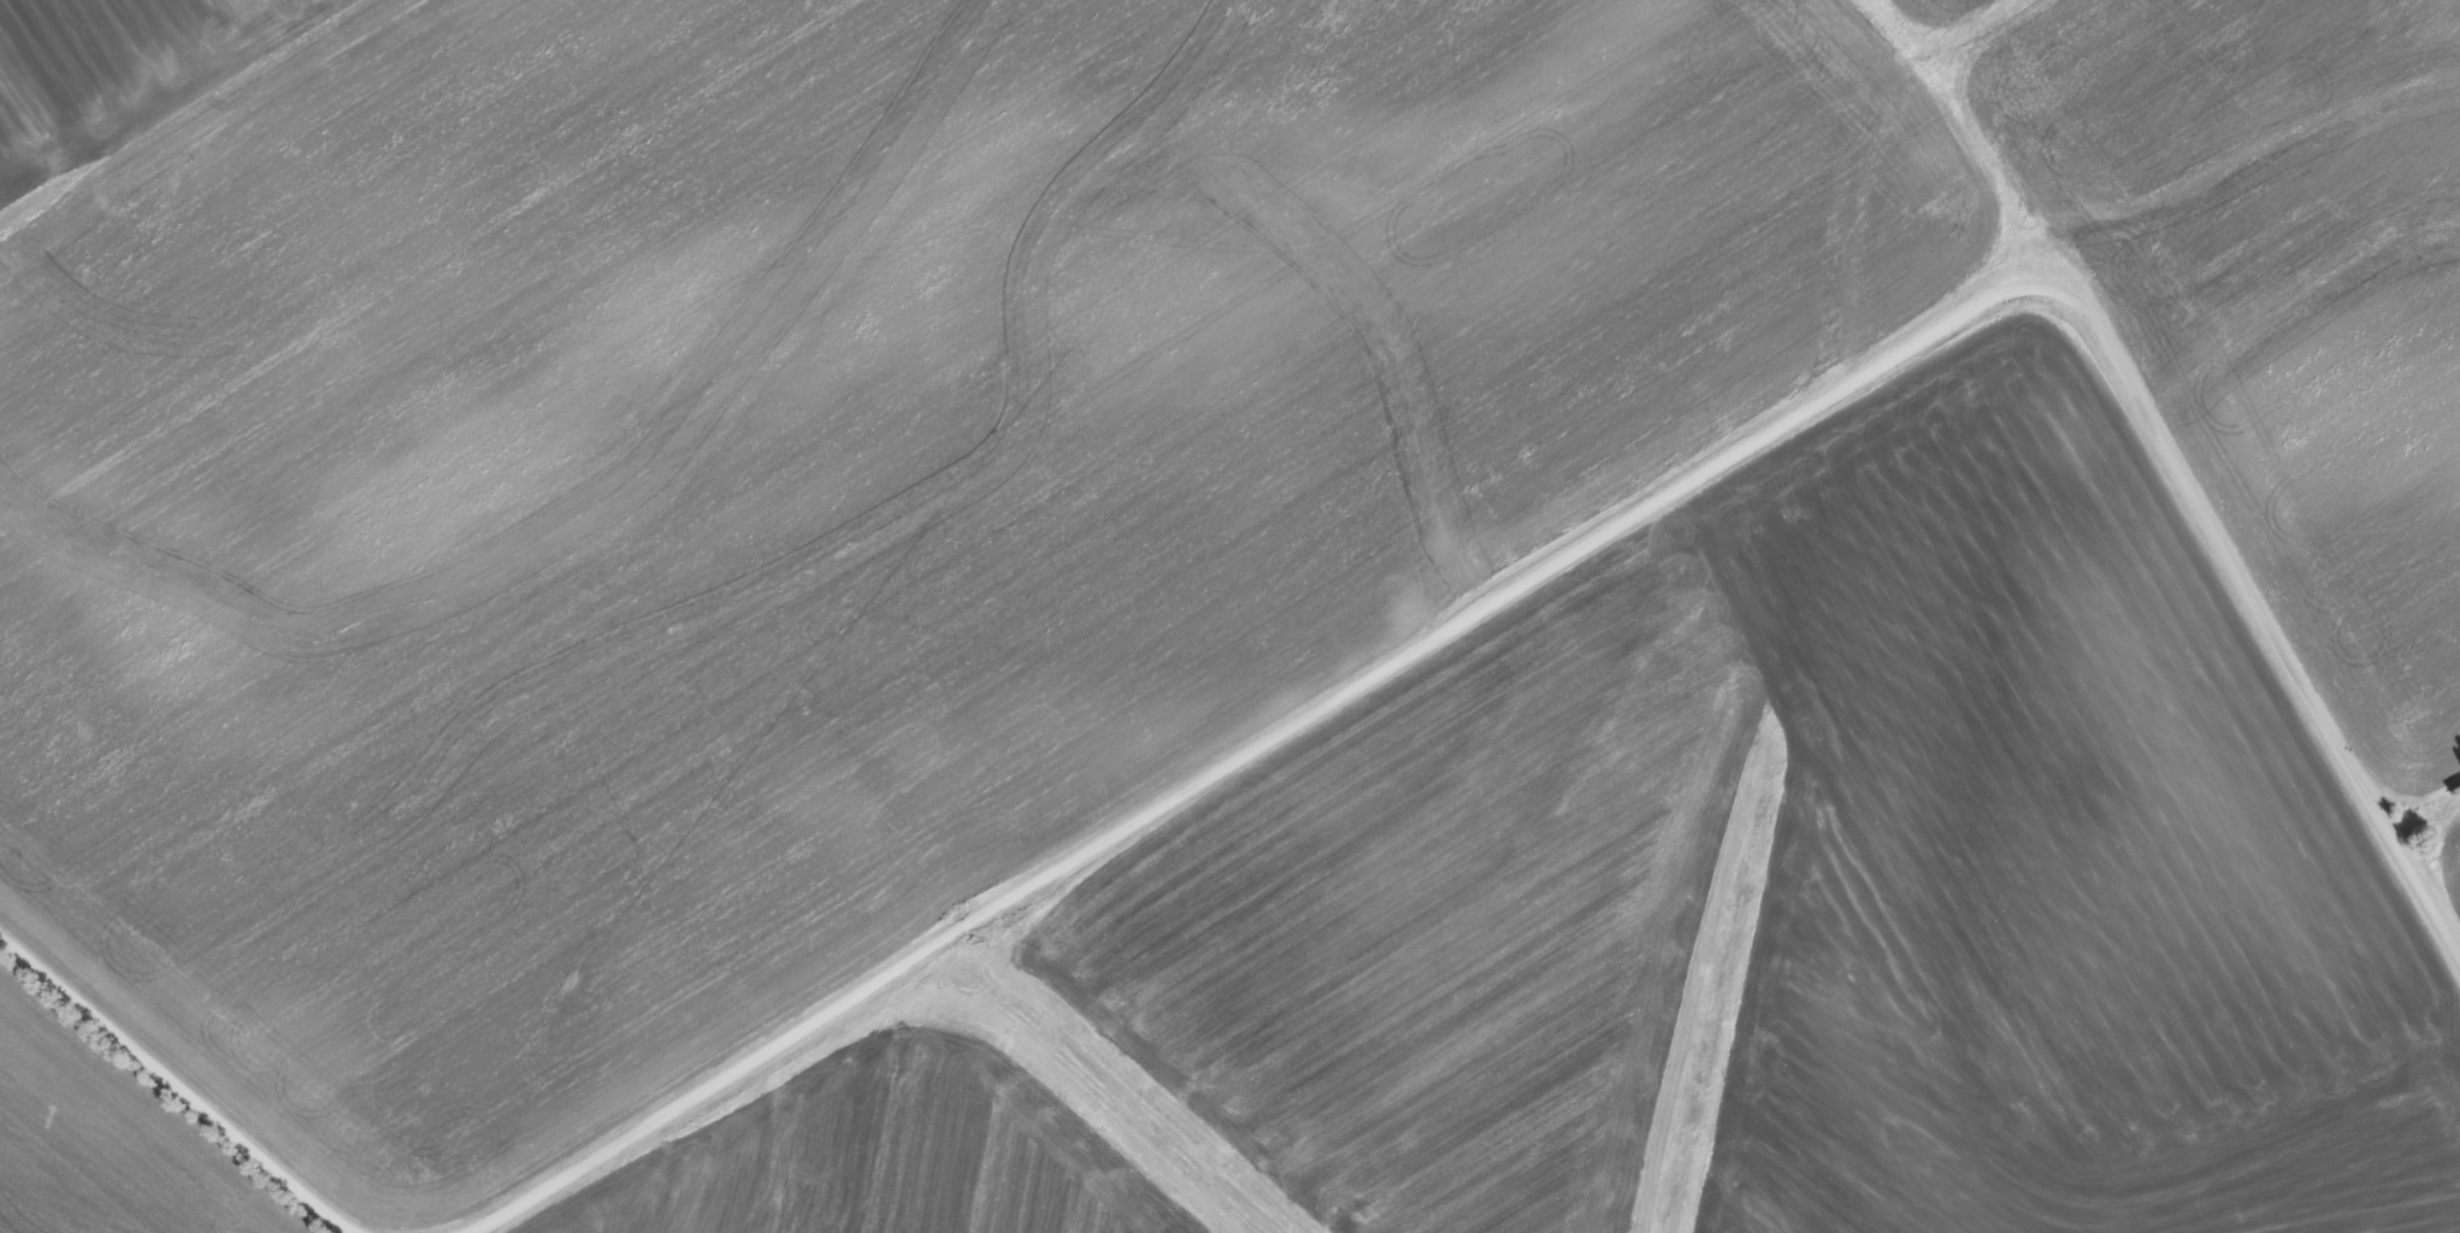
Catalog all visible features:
road: (2177, 468)
road: (1082, 842)
road: (193, 1078)

